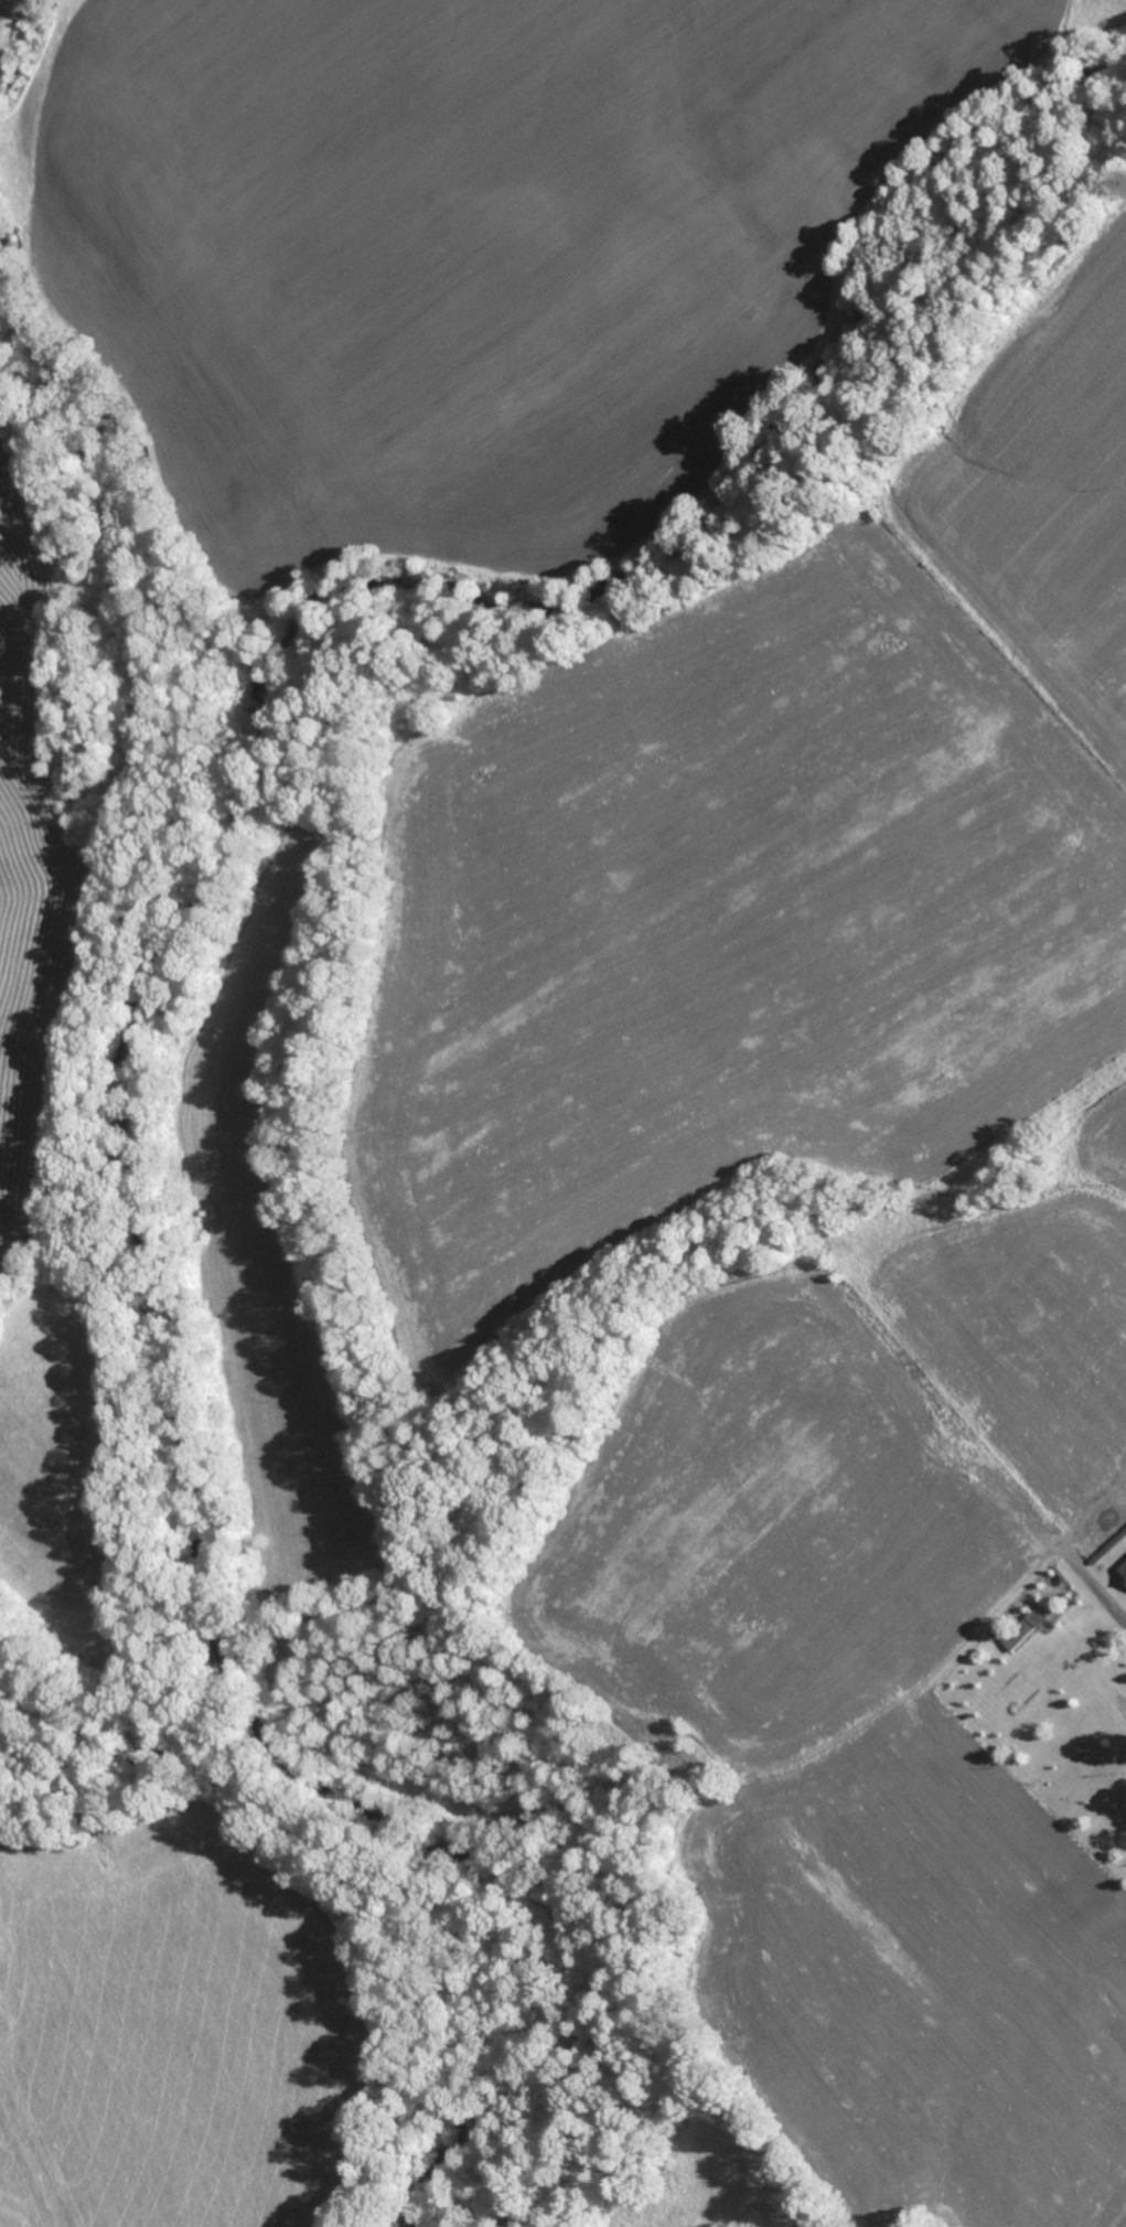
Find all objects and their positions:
building: (1125, 1560)
building: (1124, 1573)
building: (1029, 1624)

